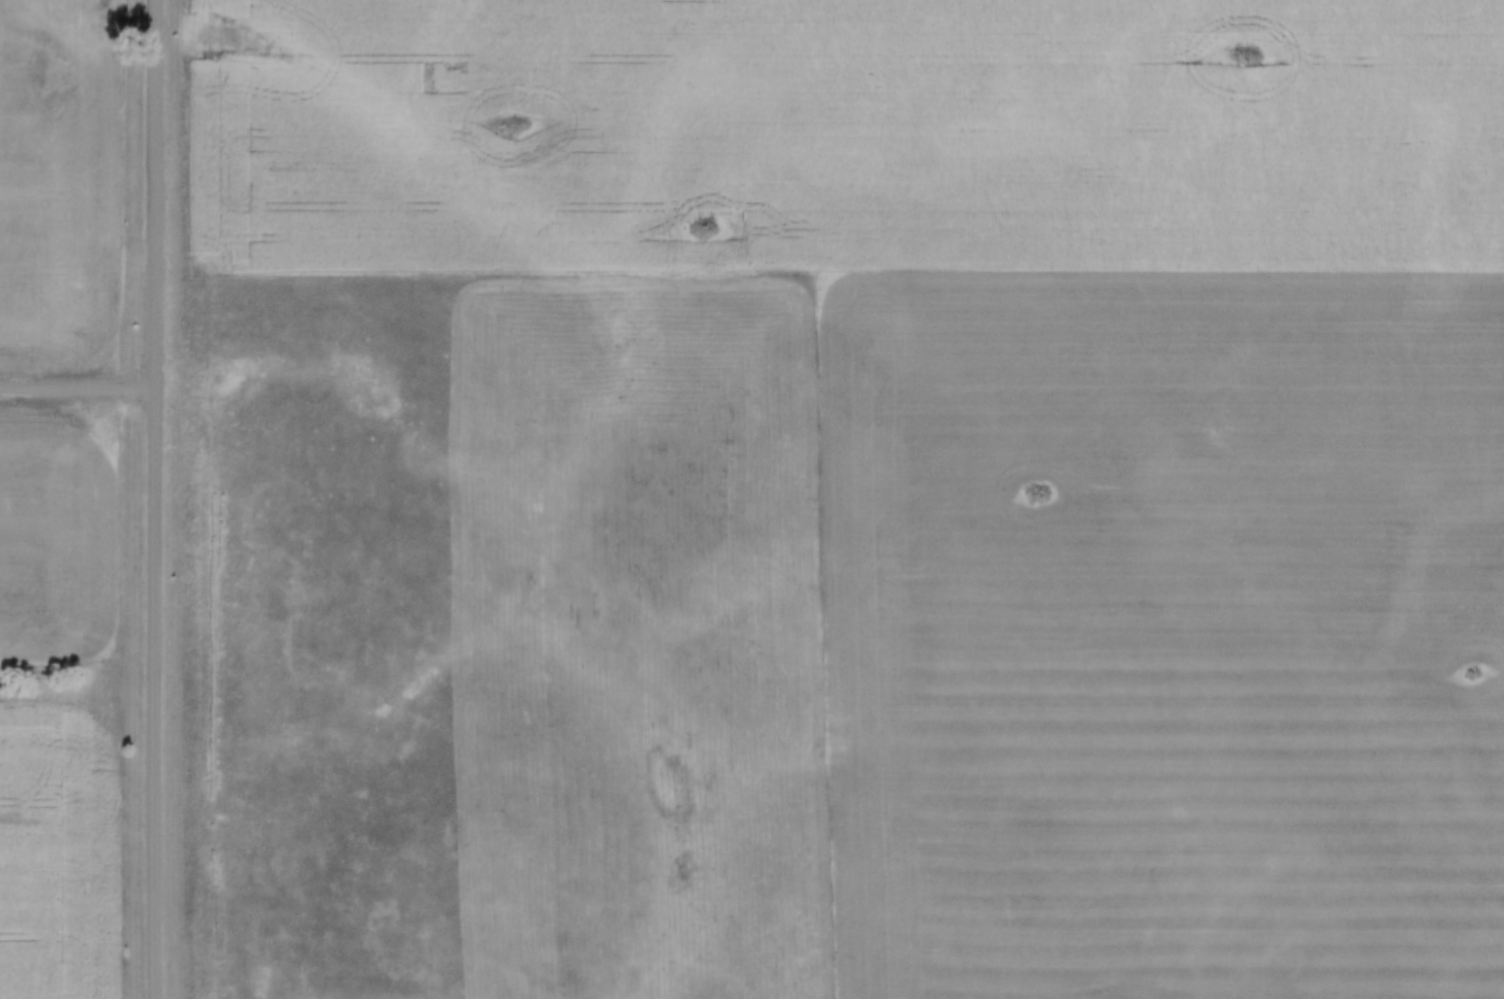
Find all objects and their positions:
road: (157, 499)

